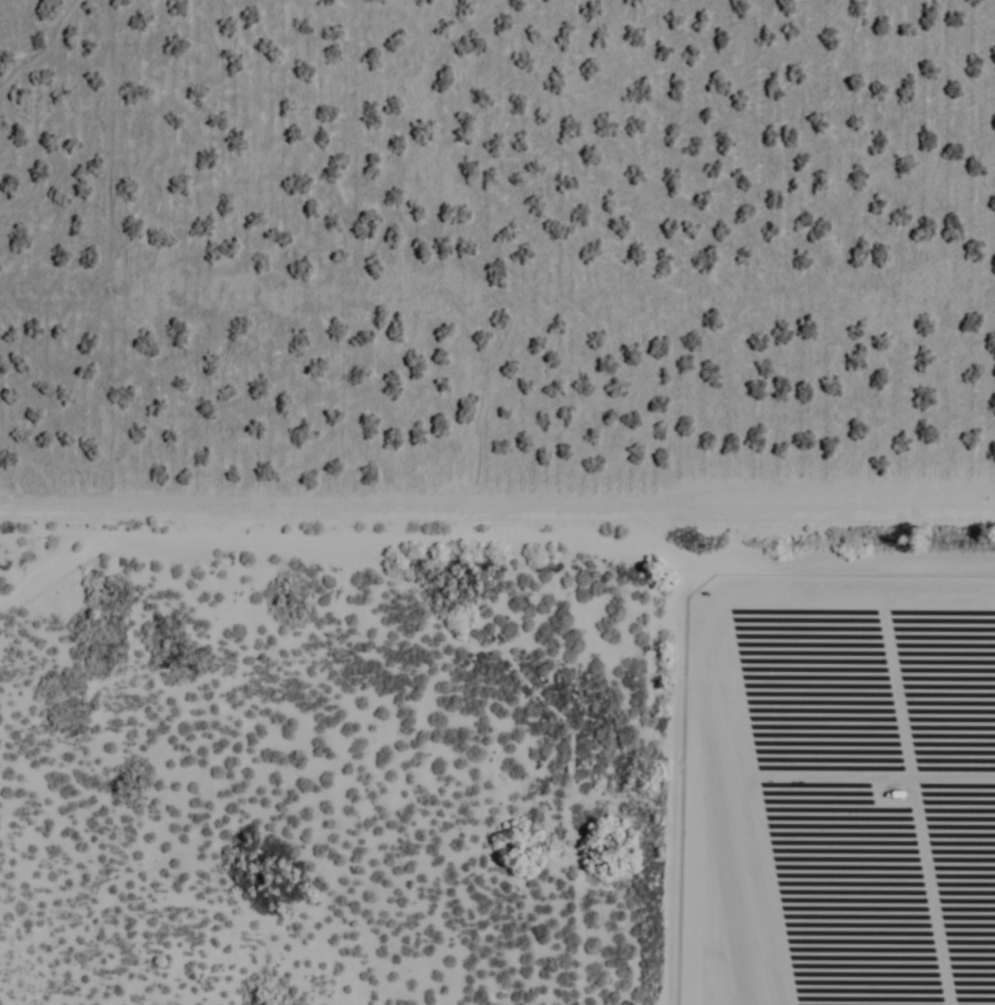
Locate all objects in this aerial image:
solar farm: (840, 791)

